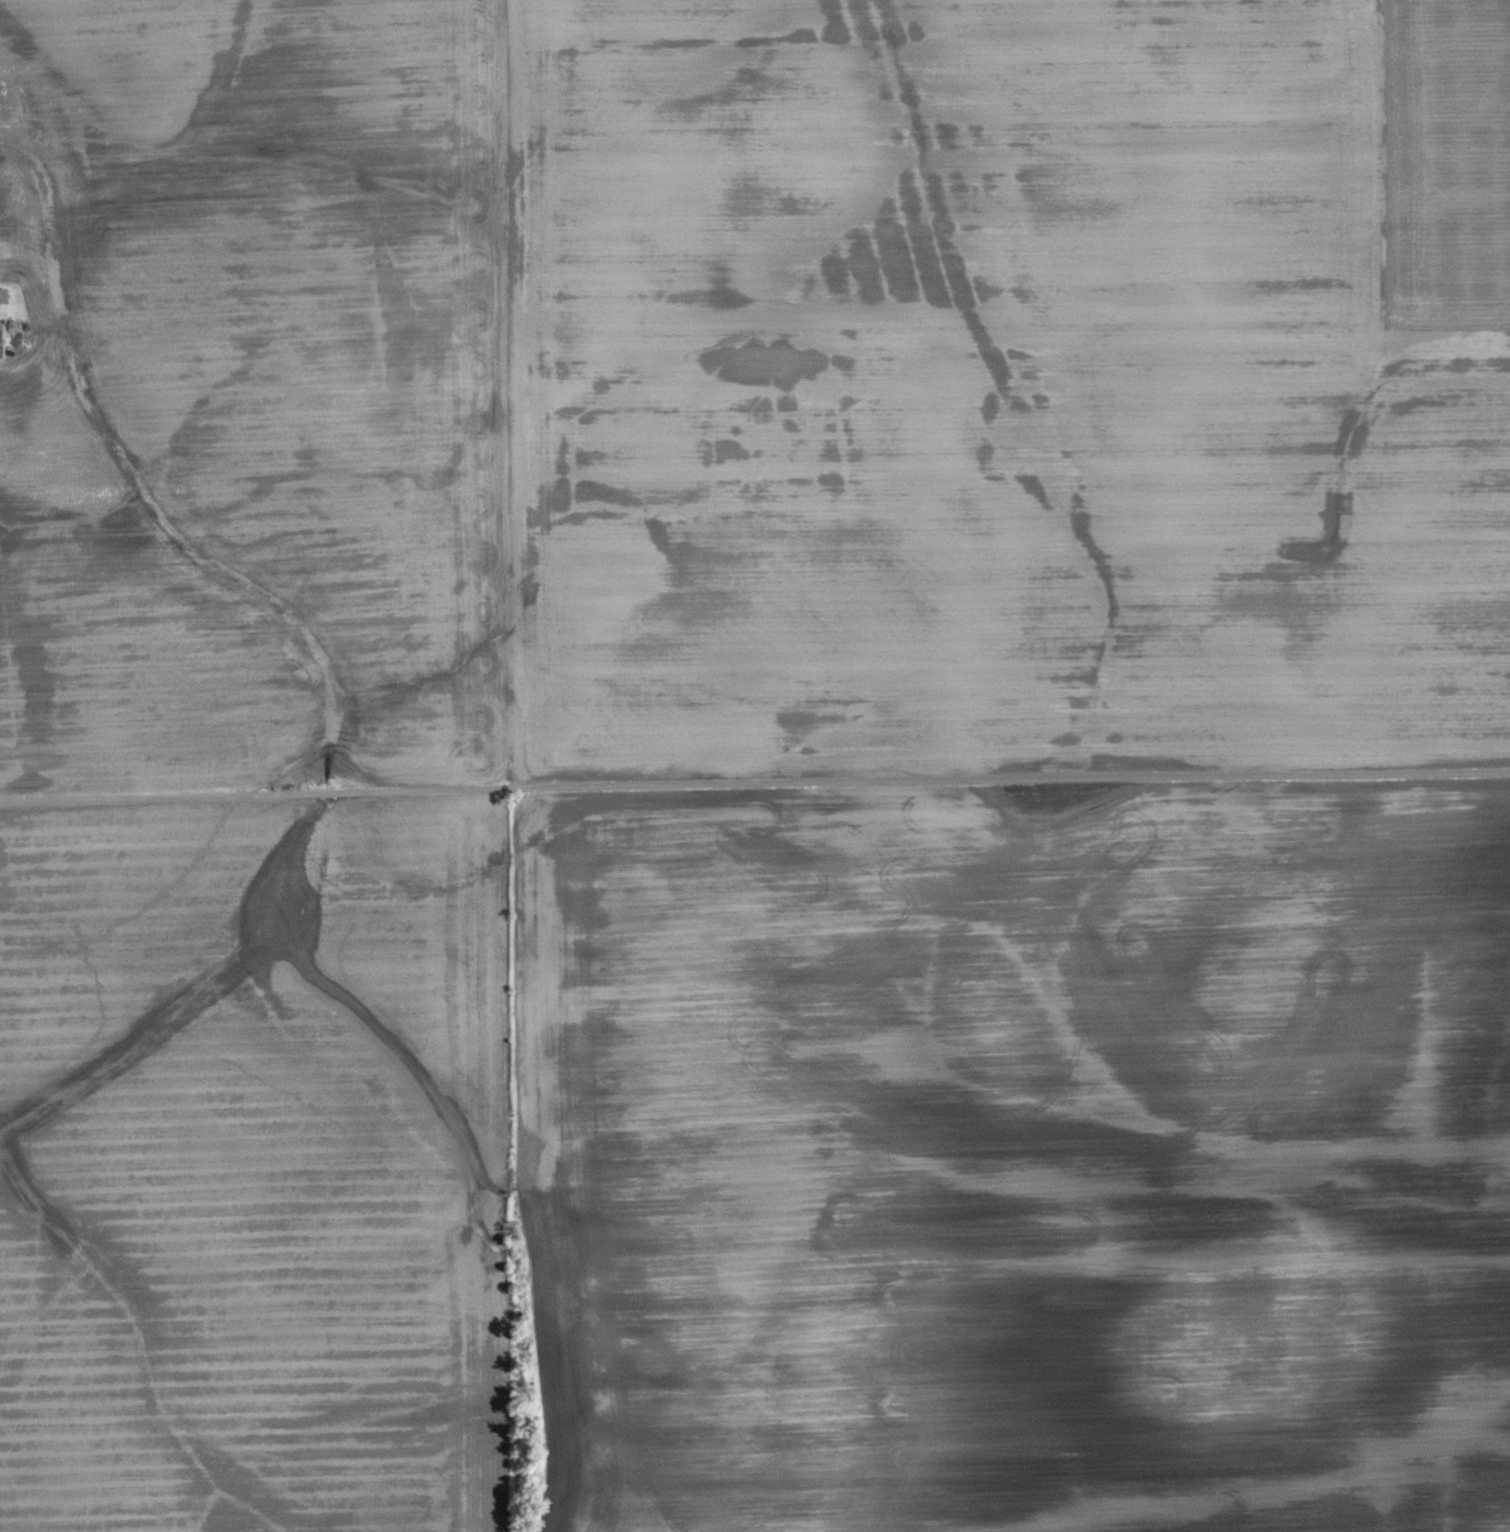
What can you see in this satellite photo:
building: (5, 303)
building: (1, 335)
road: (754, 779)

